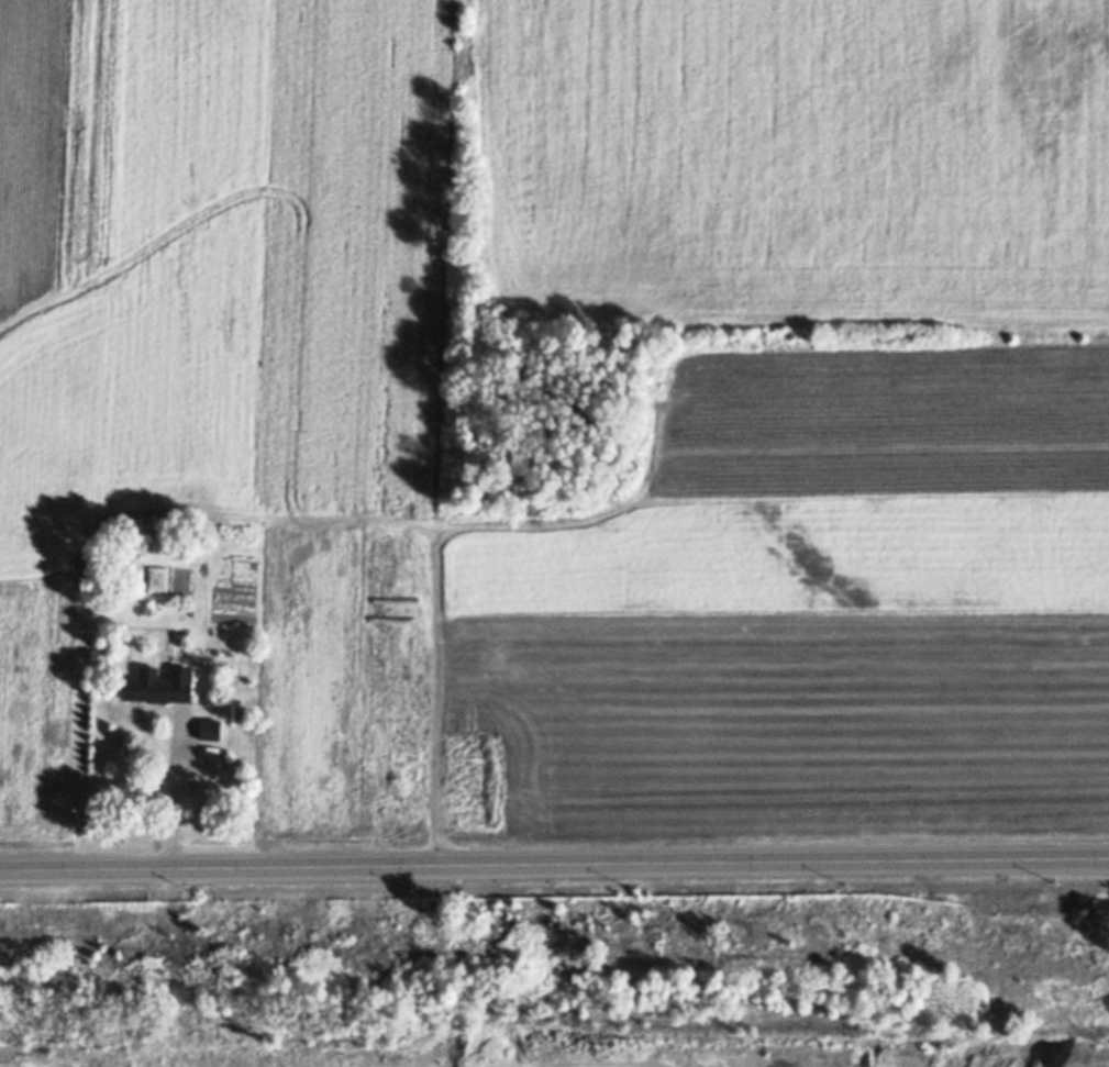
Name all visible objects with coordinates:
building: (608, 453)
building: (192, 610)
building: (212, 631)
building: (185, 634)
building: (160, 685)
building: (210, 729)
road: (169, 787)
road: (554, 865)
quarry: (543, 1043)

